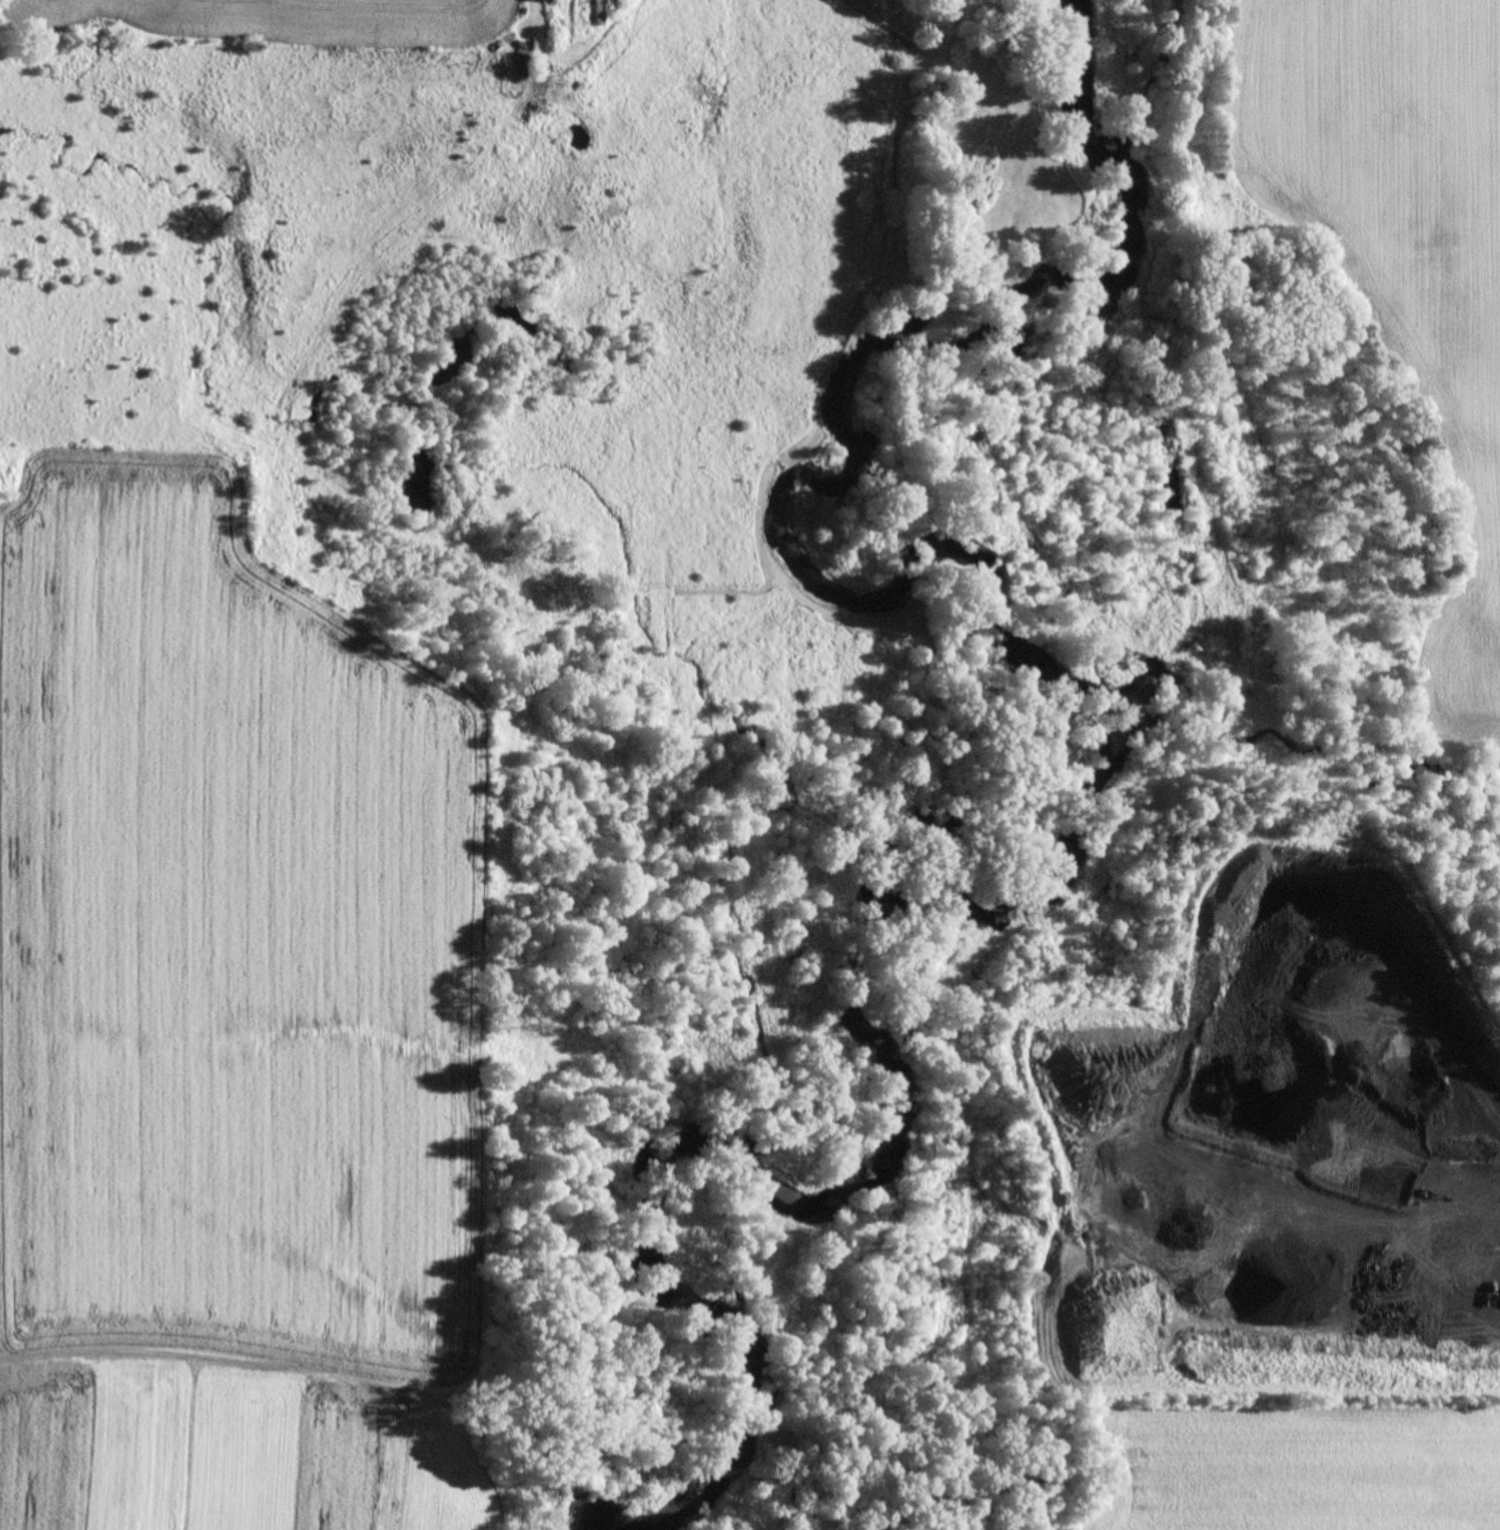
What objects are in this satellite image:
building: (597, 12)
building: (523, 64)
building: (918, 114)
river: (1106, 253)
river: (924, 579)
river: (924, 908)
river: (823, 1184)
river: (753, 1347)

